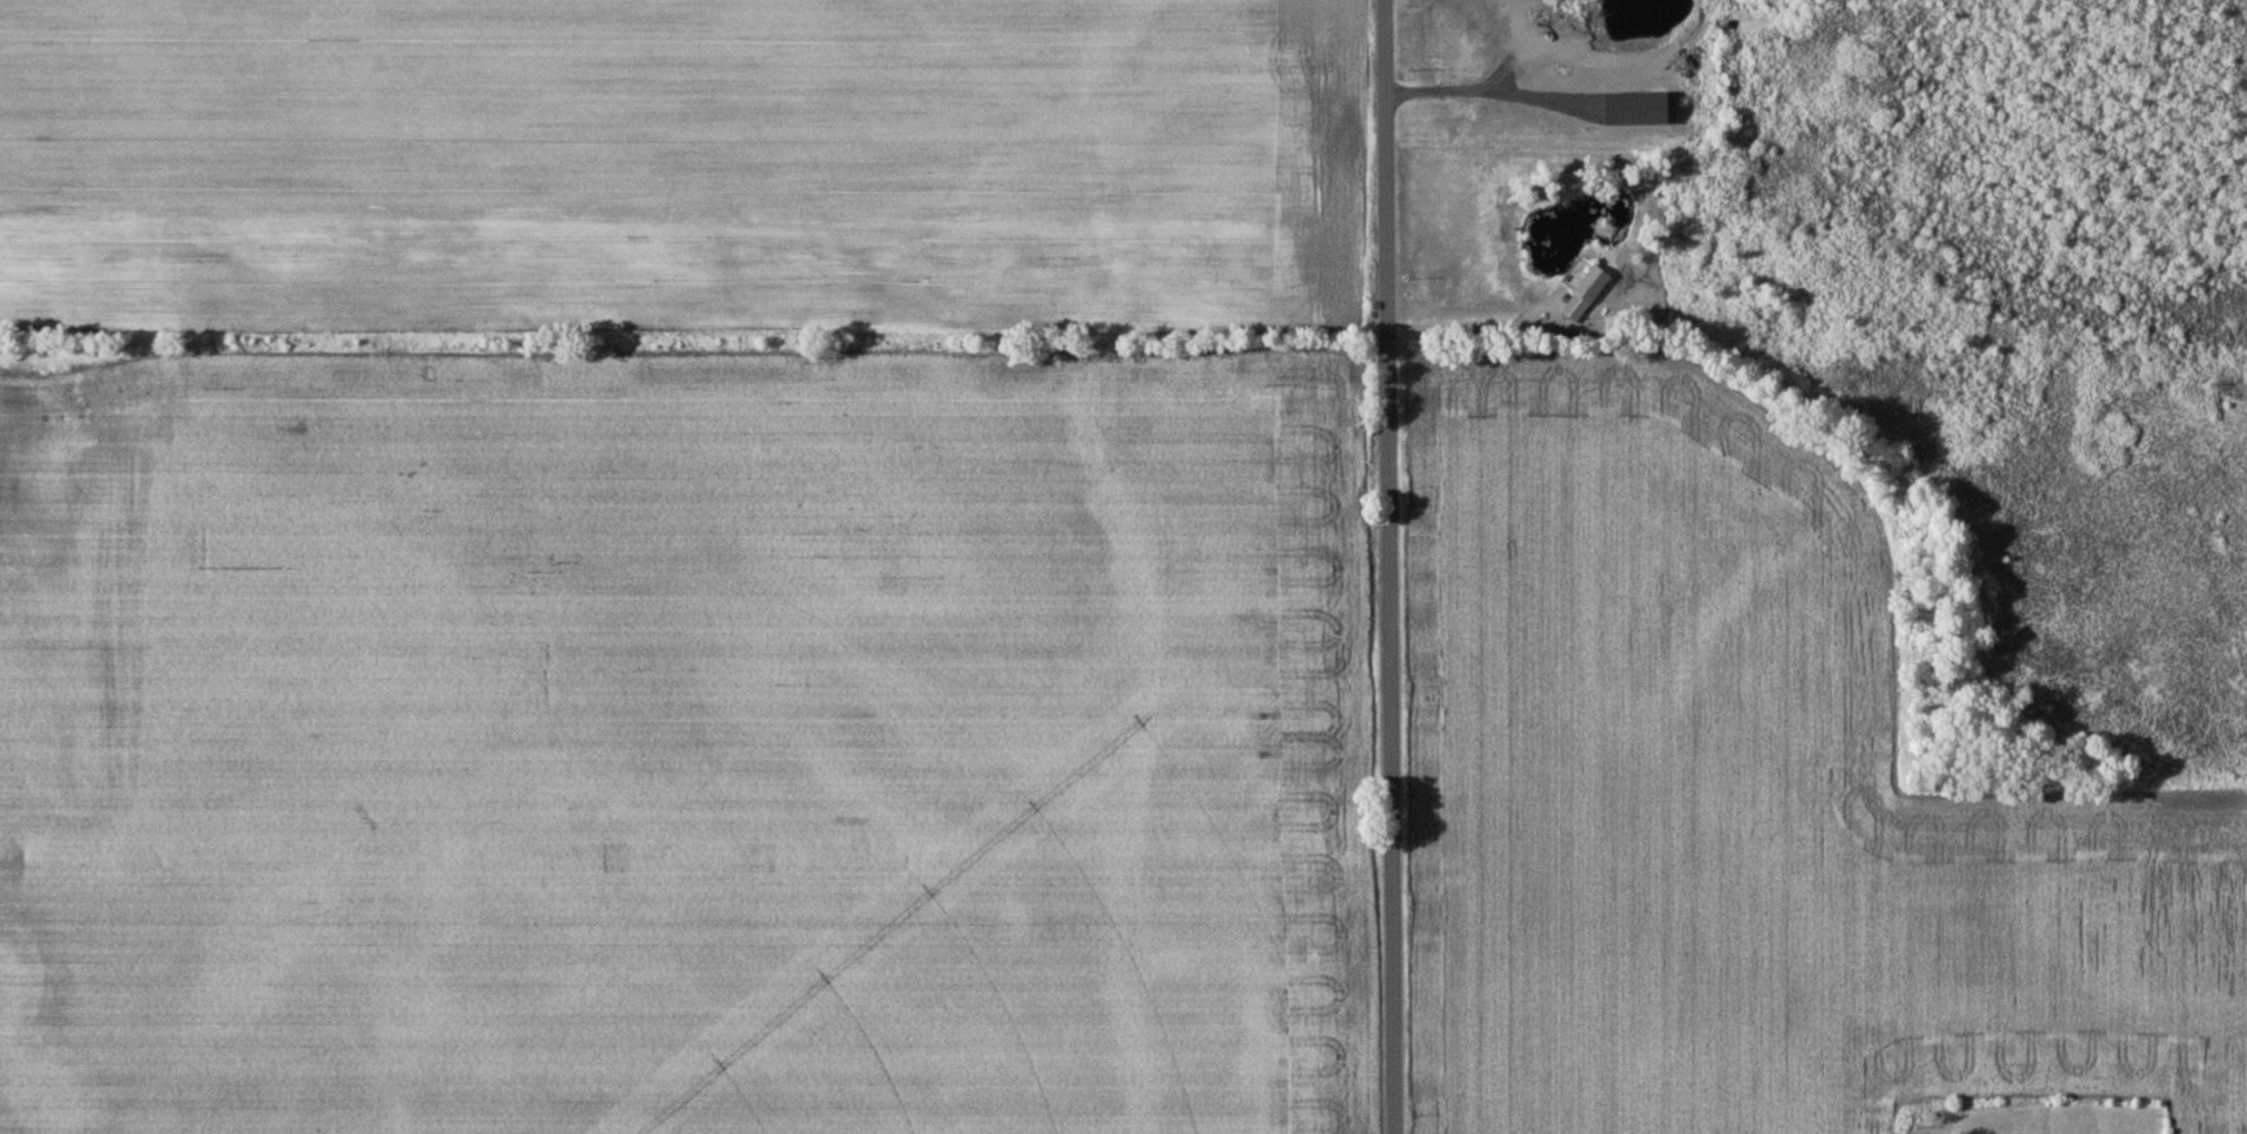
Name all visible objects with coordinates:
building: (1586, 293)
road: (1458, 331)
road: (1391, 566)

